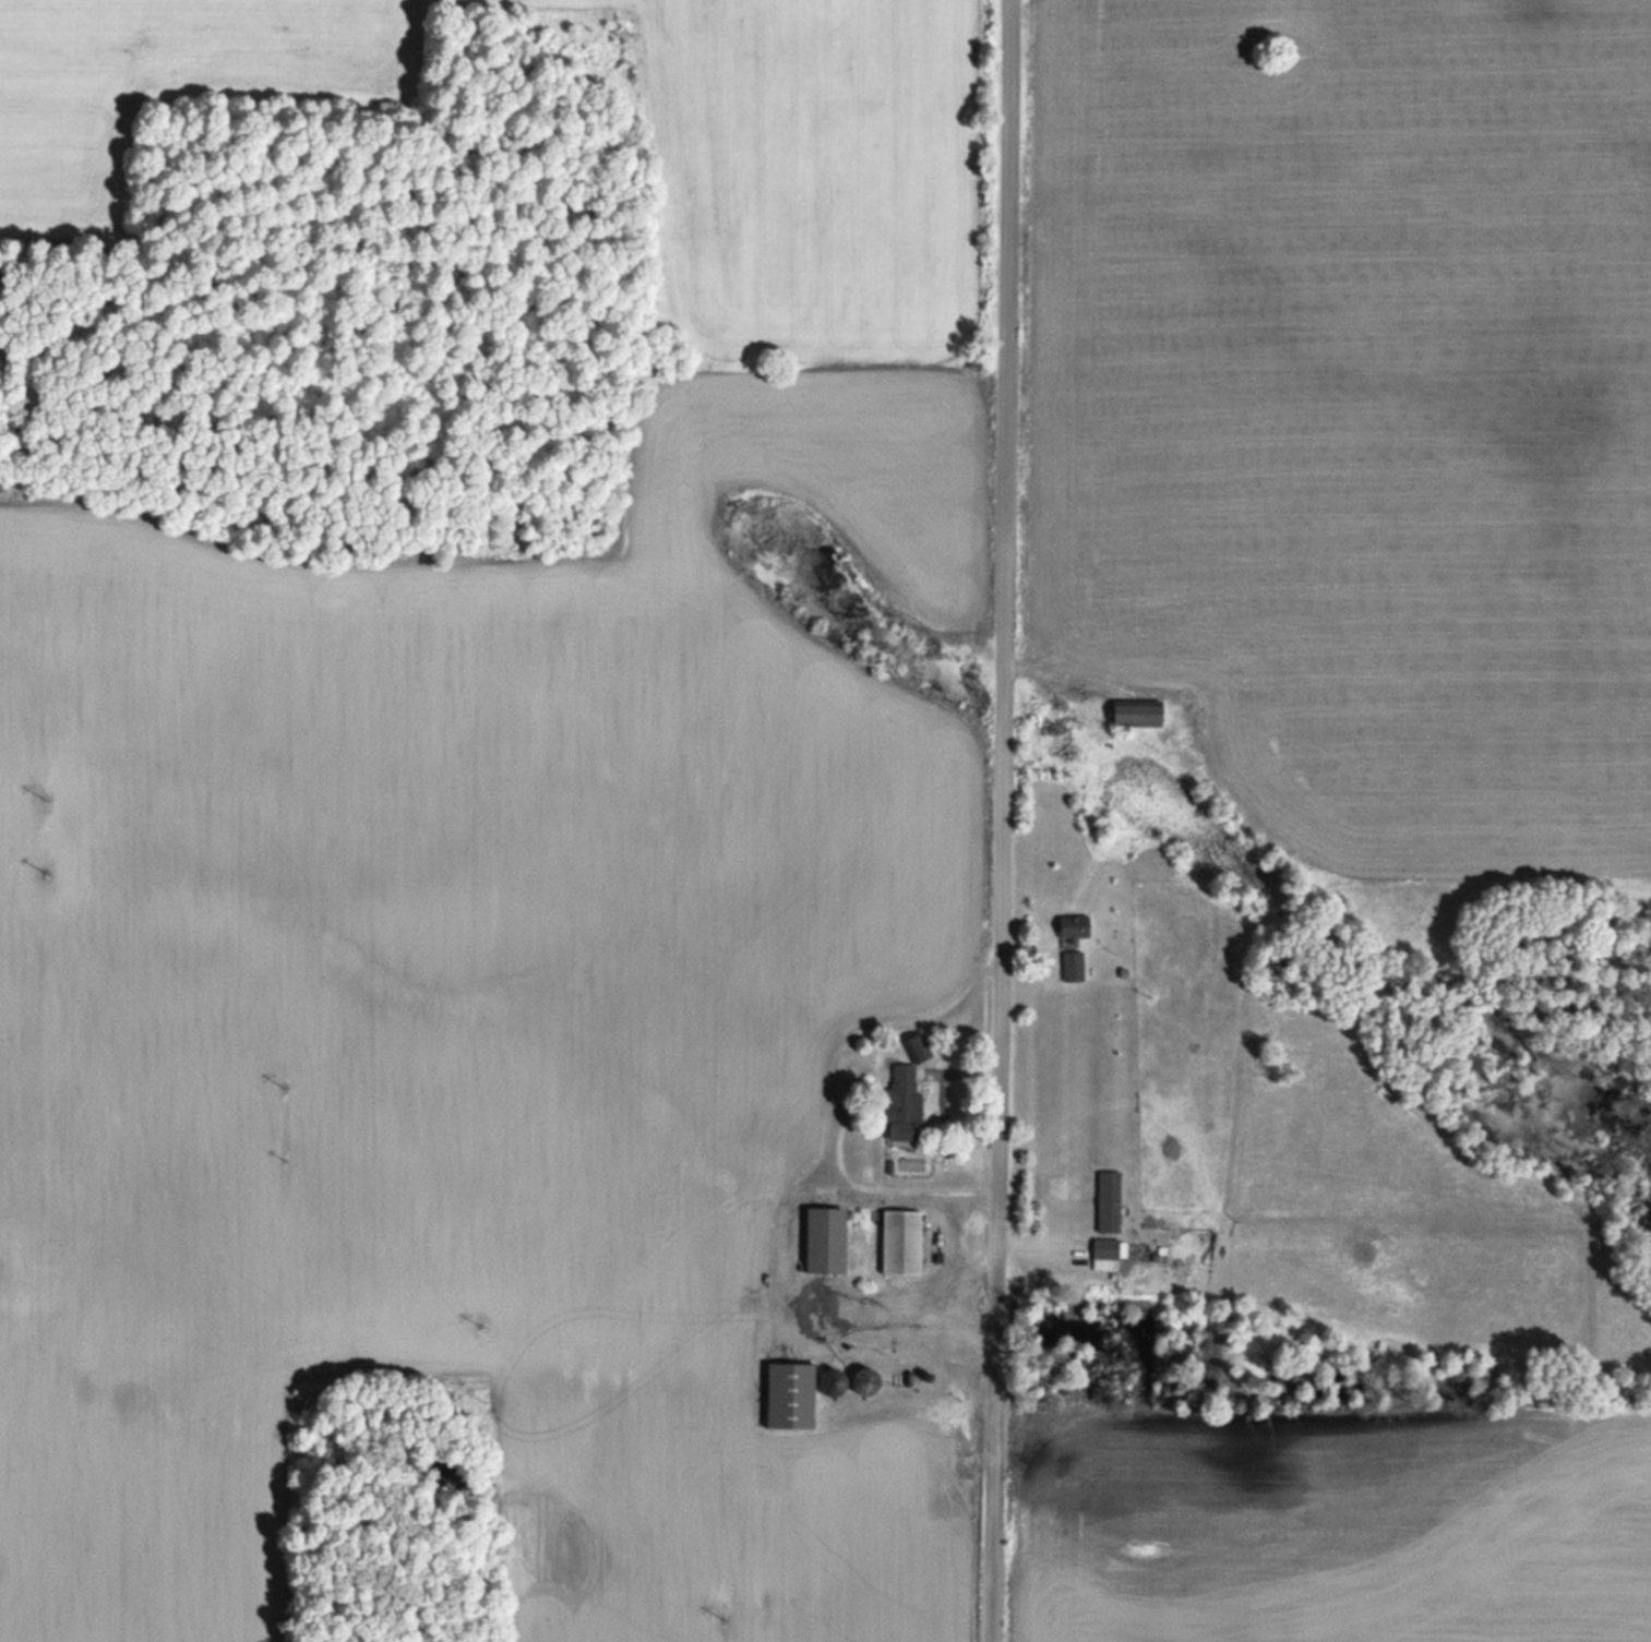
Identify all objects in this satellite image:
building: (1139, 711)
road: (994, 820)
building: (1075, 925)
building: (1073, 966)
building: (905, 1094)
building: (1108, 1199)
building: (826, 1238)
building: (901, 1241)
building: (1108, 1246)
building: (862, 1380)

